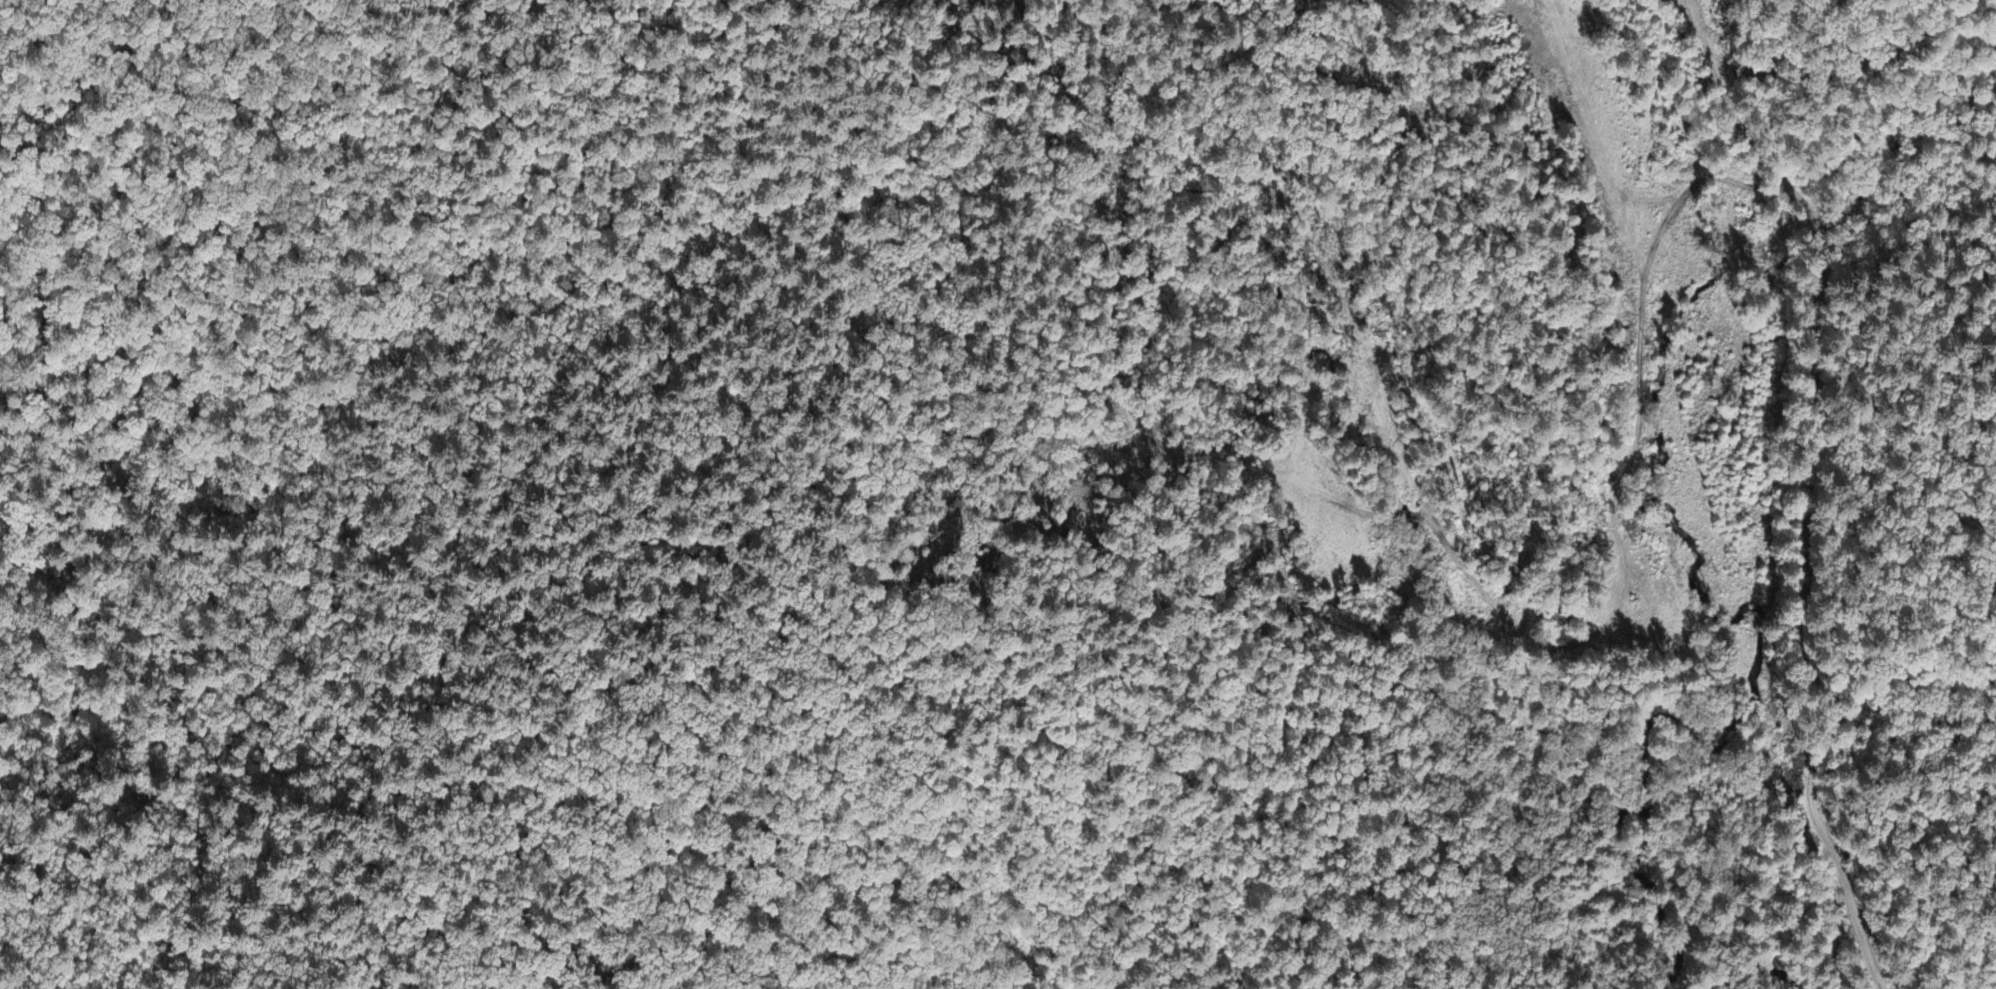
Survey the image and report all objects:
road: (1857, 92)
road: (1636, 366)
road: (1808, 488)

